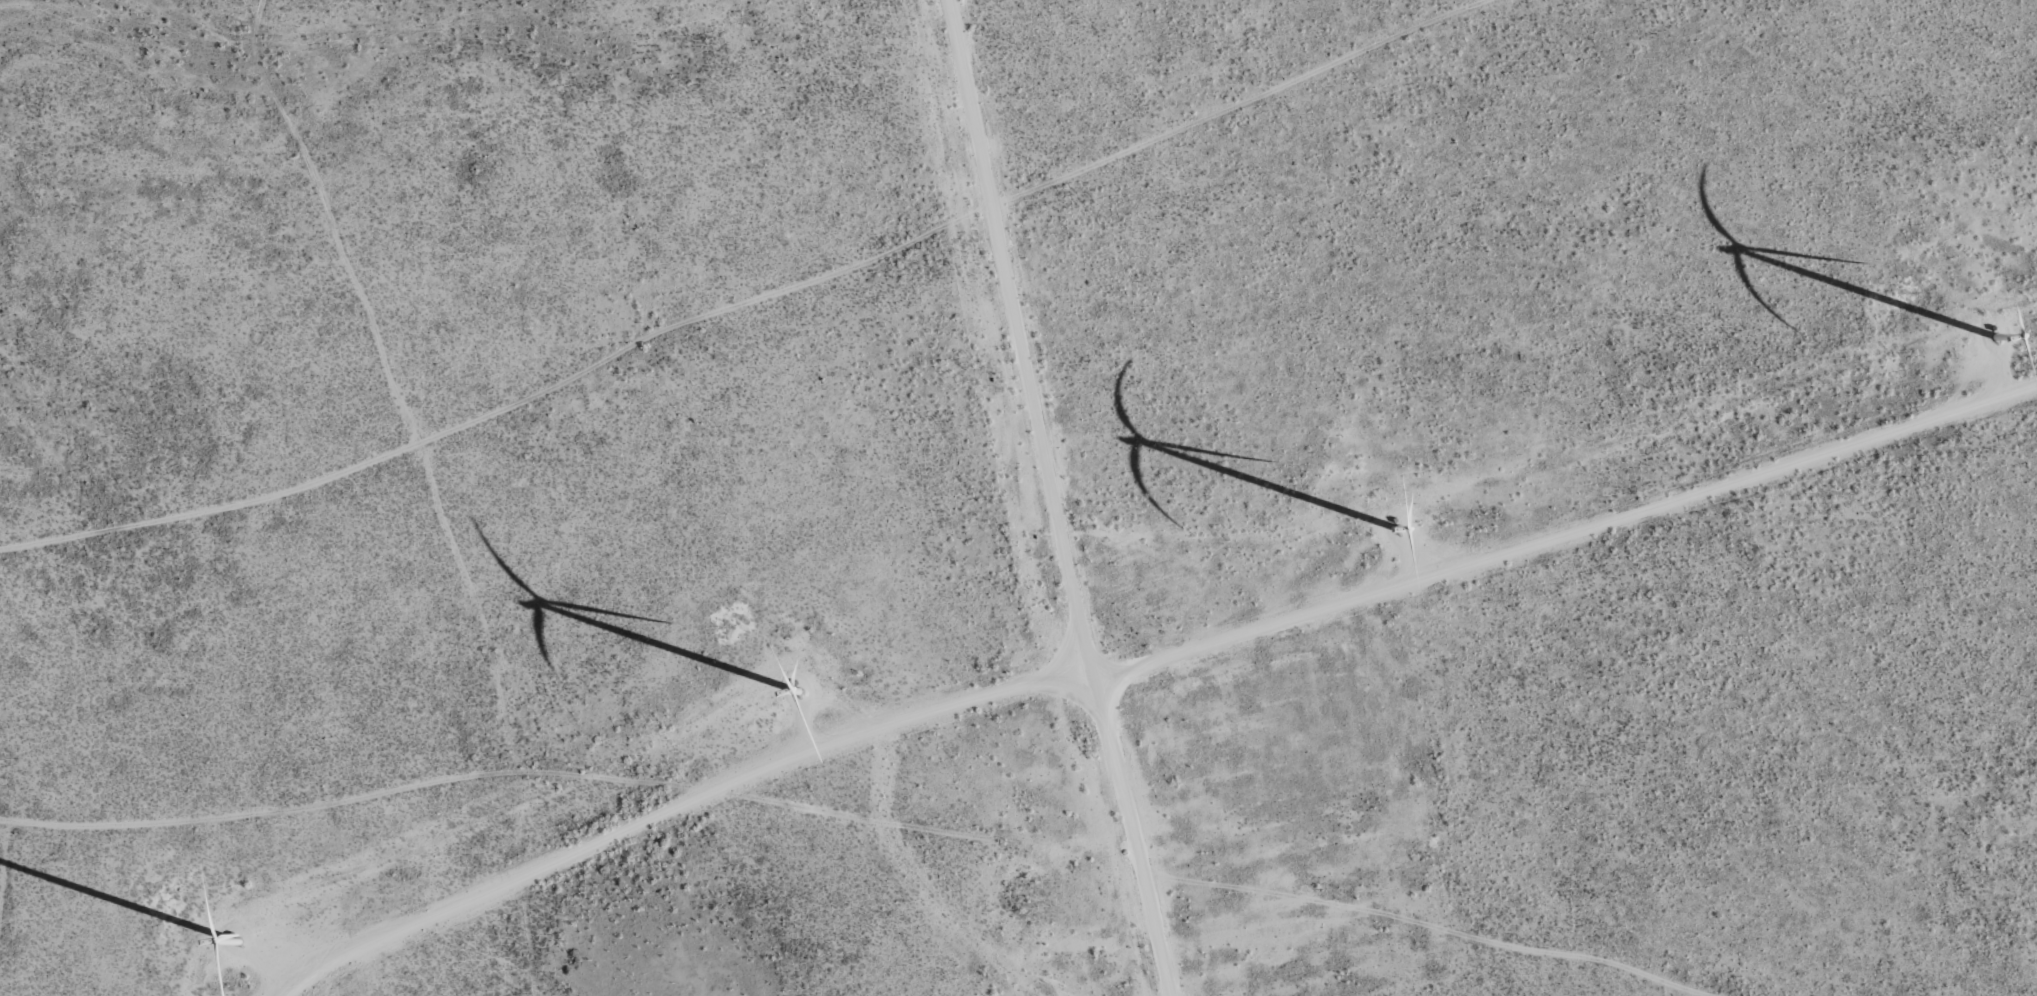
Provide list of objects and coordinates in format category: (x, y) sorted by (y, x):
road: (735, 291)
wind turbine: (1989, 335)
wind turbine: (1388, 523)
wind turbine: (790, 682)
road: (961, 816)
wind turbine: (216, 939)

